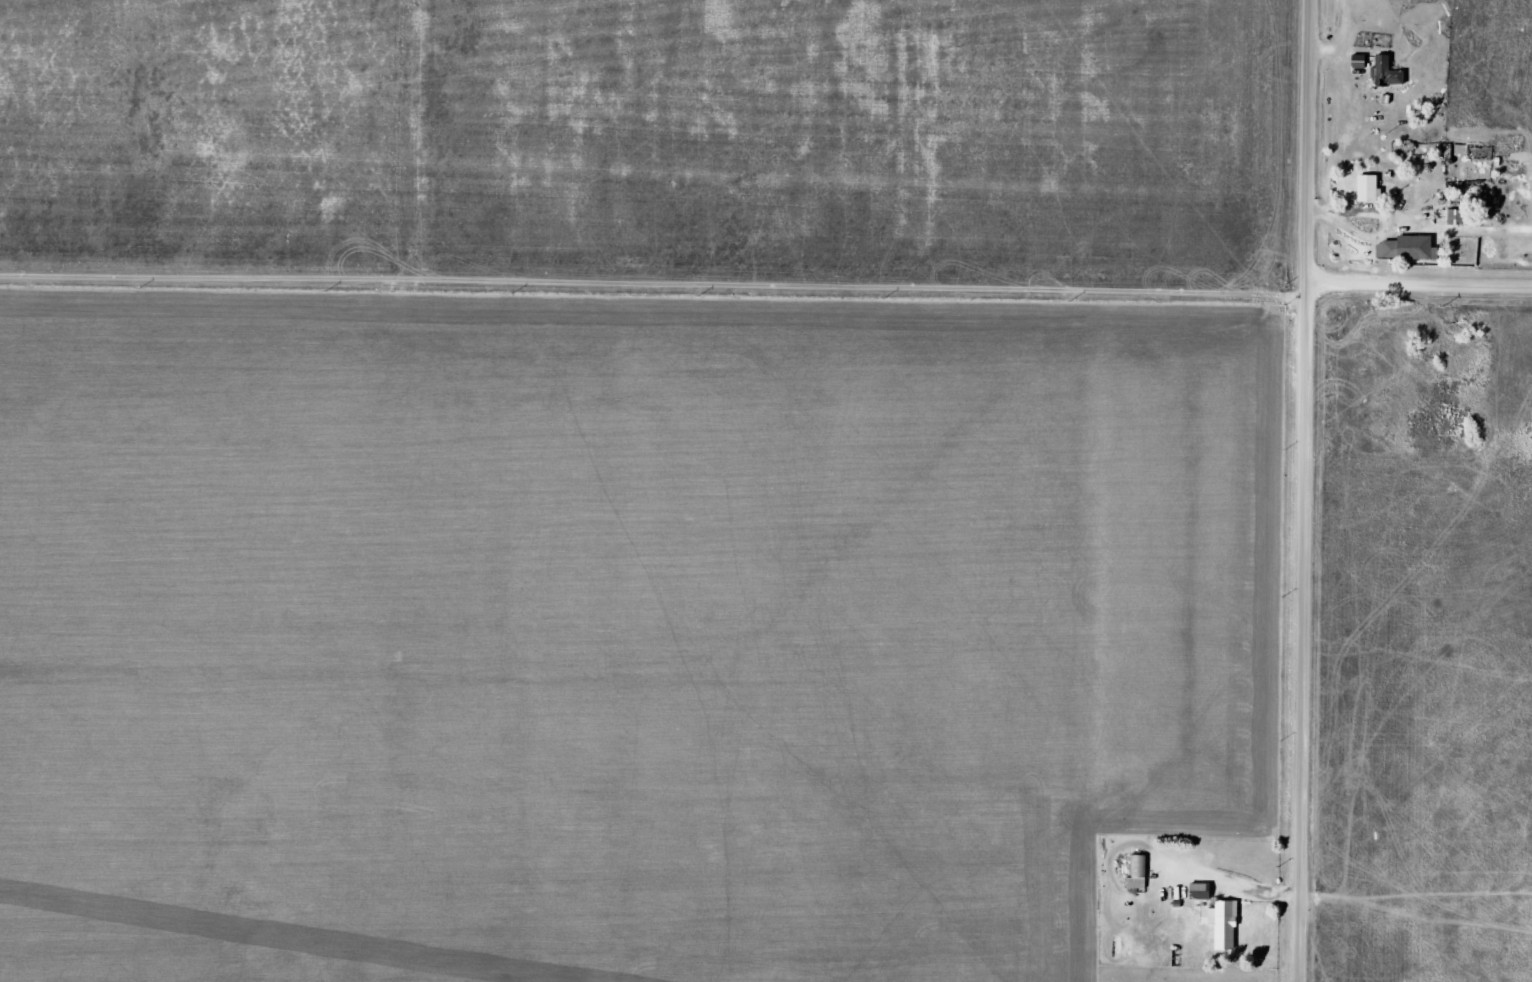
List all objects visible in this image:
building: (1371, 189)
building: (1460, 217)
road: (1419, 280)
road: (1304, 490)
building: (1226, 924)

